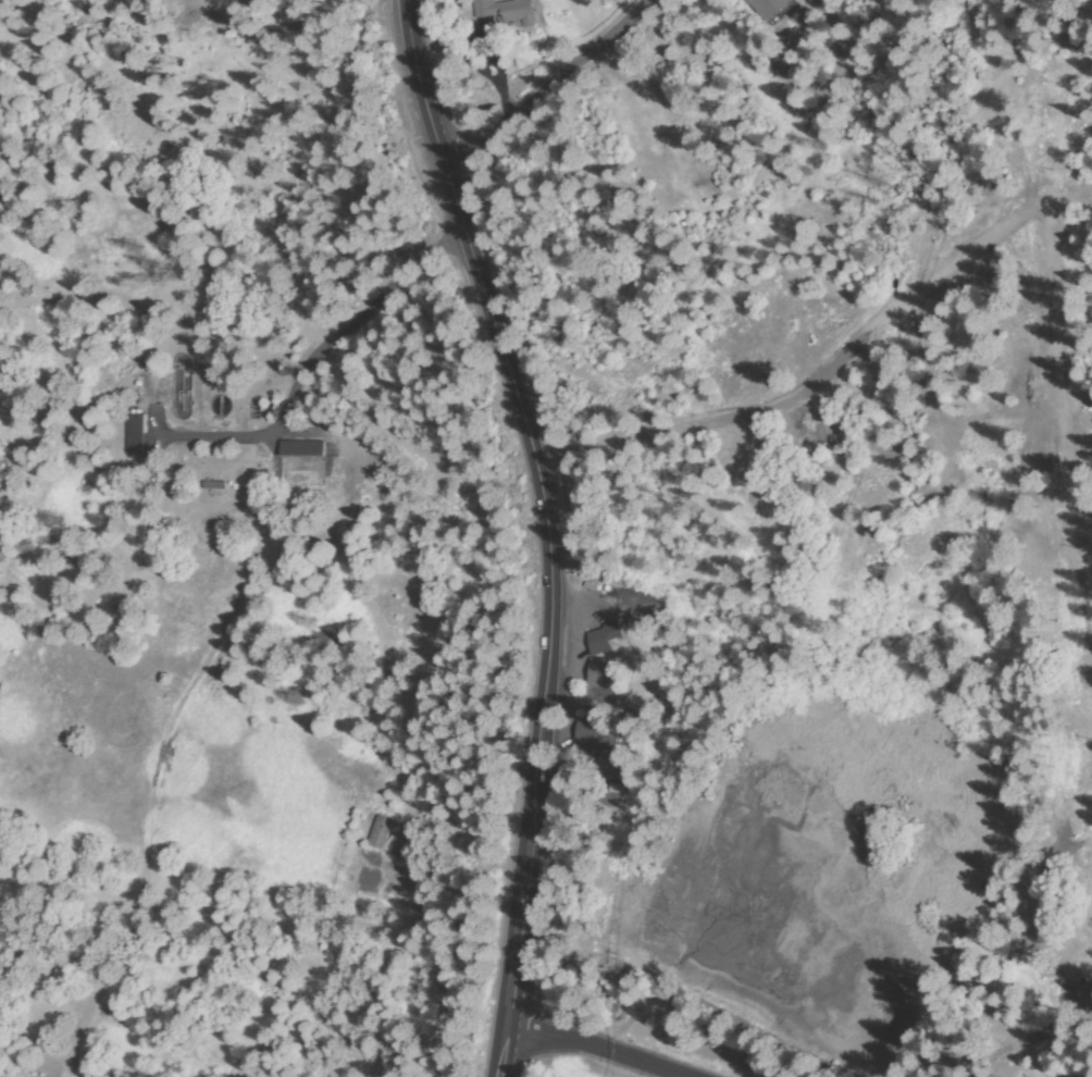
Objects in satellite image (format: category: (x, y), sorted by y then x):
building: (768, 8)
building: (507, 12)
road: (277, 20)
road: (546, 91)
building: (136, 435)
road: (219, 436)
building: (301, 449)
road: (263, 491)
road: (548, 530)
building: (603, 637)
building: (600, 674)
building: (601, 738)
building: (381, 832)
building: (685, 847)
road: (401, 944)
road: (109, 945)
road: (1079, 995)
road: (1041, 1003)
road: (598, 1049)

